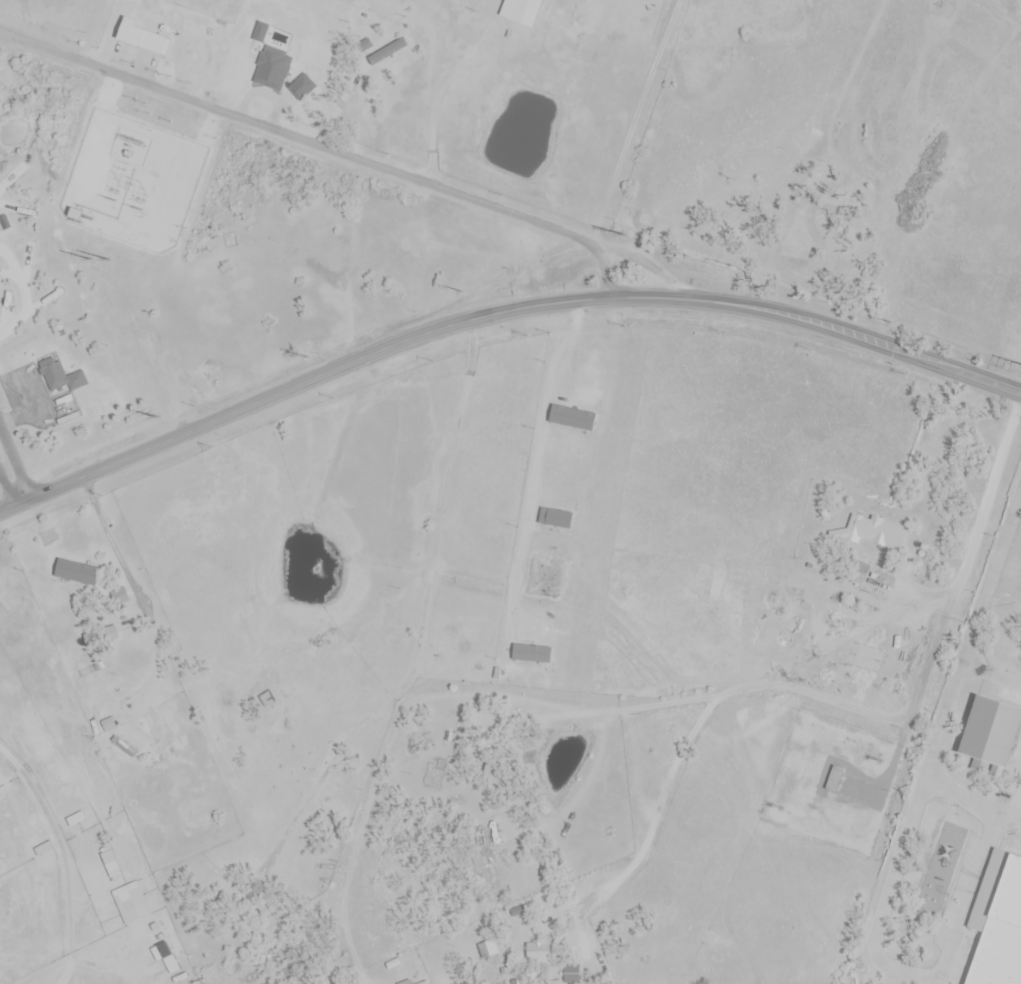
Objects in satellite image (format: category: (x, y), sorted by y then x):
building: (519, 11)
building: (392, 54)
building: (280, 59)
building: (241, 76)
road: (322, 147)
power substation: (133, 182)
power tower: (112, 200)
power tower: (138, 209)
road: (860, 326)
road: (859, 338)
road: (352, 361)
building: (62, 380)
road: (14, 466)
road: (14, 505)
building: (851, 530)
building: (50, 536)
building: (77, 573)
building: (1006, 605)
road: (827, 646)
building: (1007, 652)
building: (988, 734)
road: (930, 756)
building: (833, 780)
road: (971, 801)
road: (653, 815)
building: (479, 839)
building: (43, 849)
building: (110, 864)
road: (969, 889)
building: (130, 903)
building: (161, 952)
building: (534, 952)

